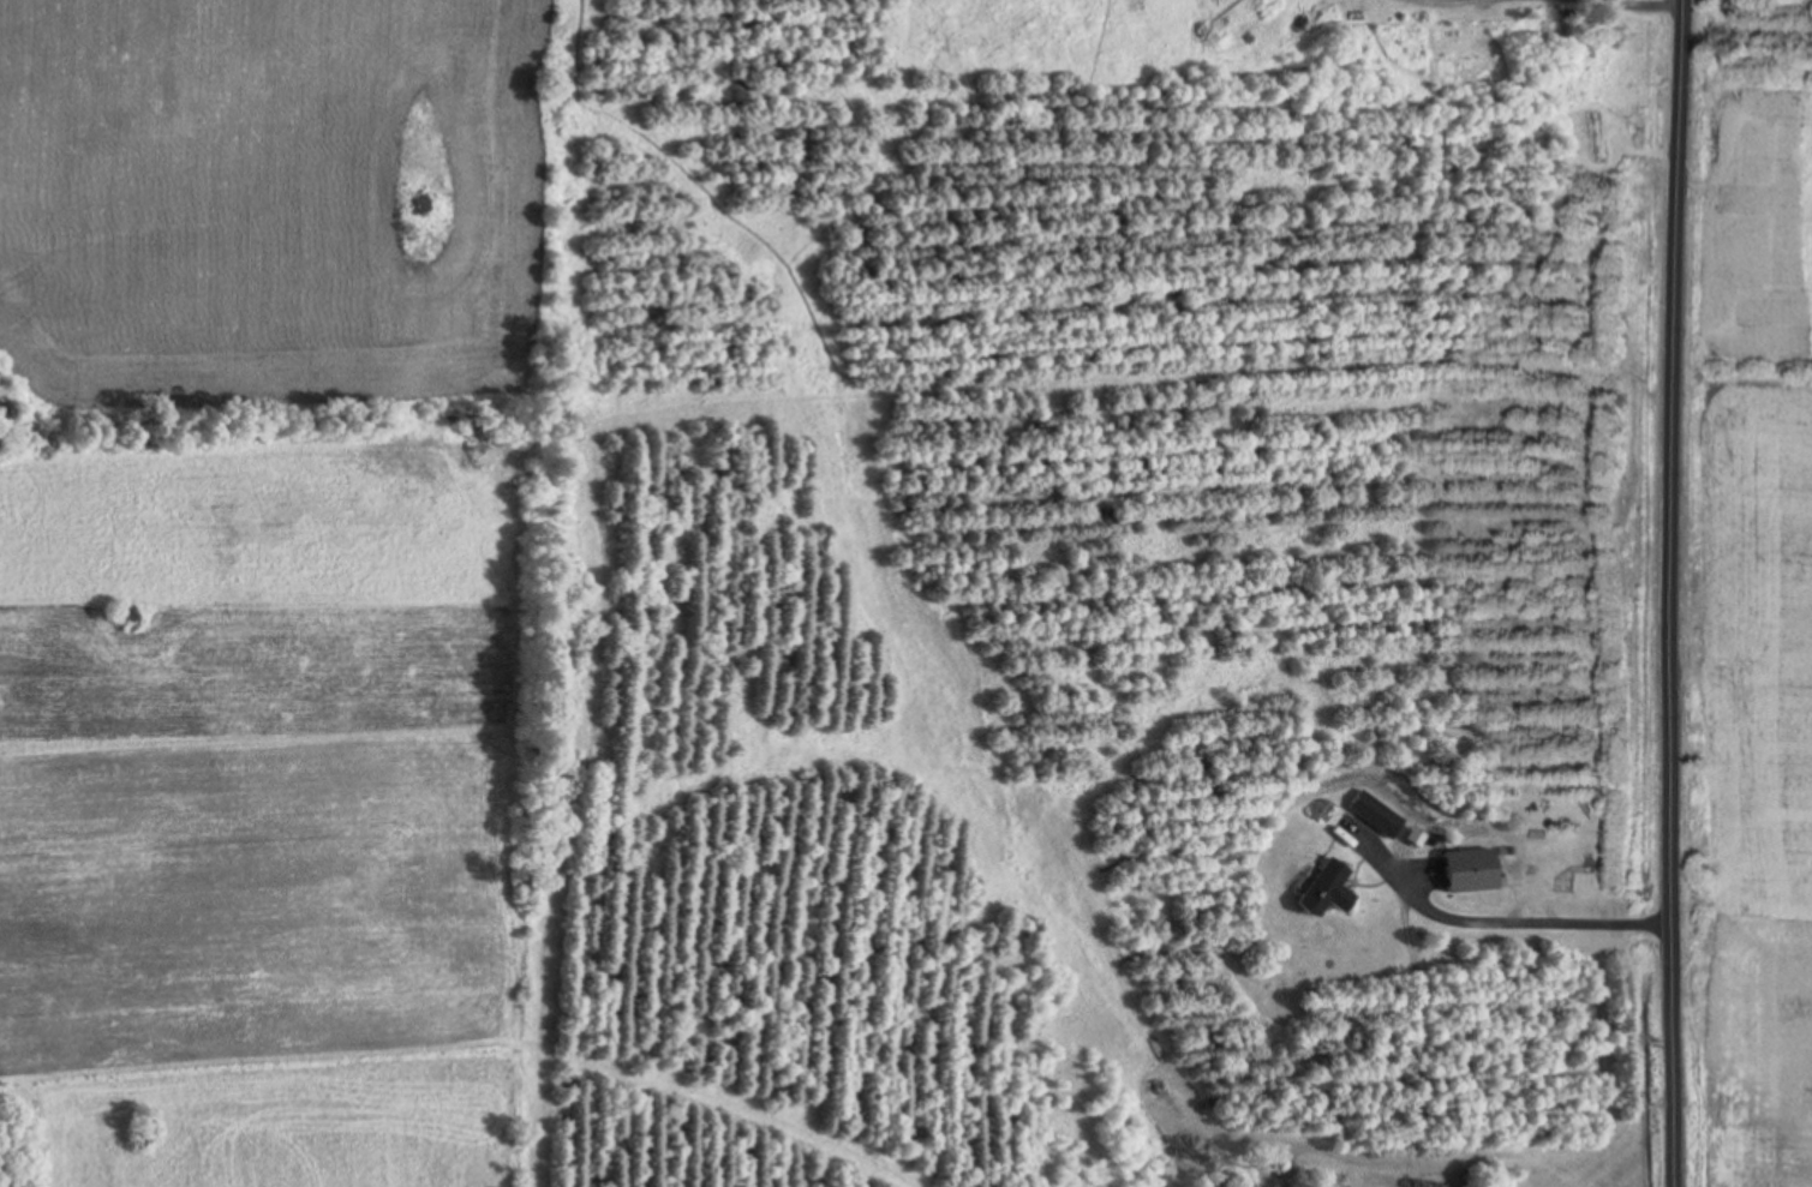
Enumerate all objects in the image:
road: (1697, 1)
road: (1675, 593)
building: (1376, 813)
building: (1466, 870)
building: (1322, 888)
road: (1506, 918)

